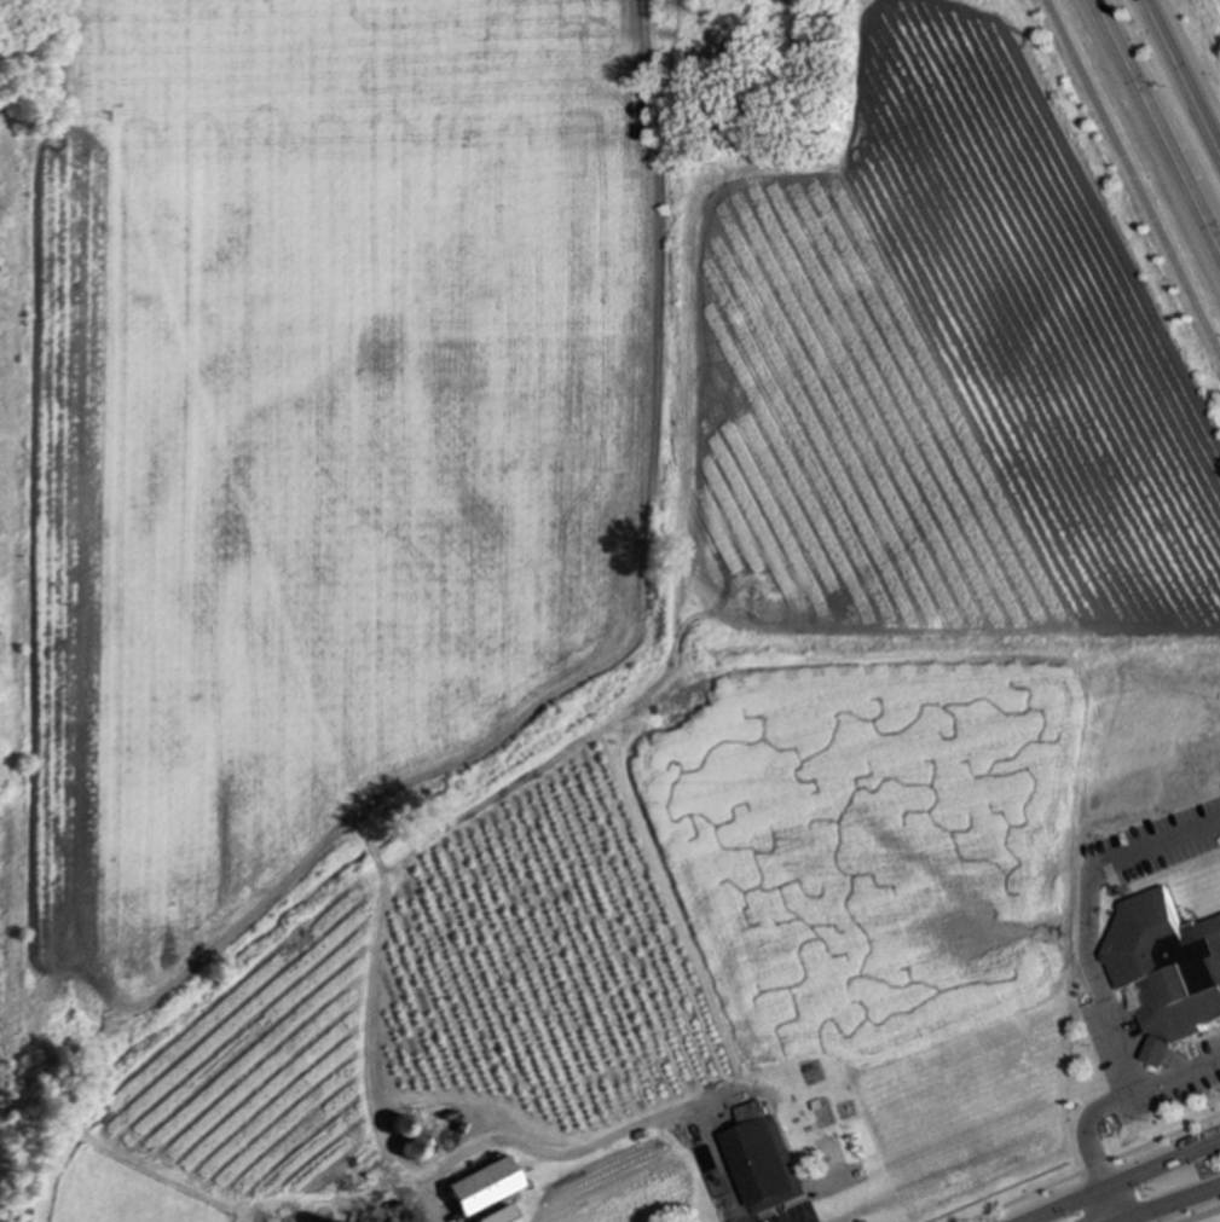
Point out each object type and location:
road: (1179, 80)
road: (1152, 137)
road: (1128, 186)
crop: (937, 375)
crop: (314, 441)
crop: (885, 893)
road: (1082, 914)
crop: (542, 966)
building: (1164, 968)
crop: (264, 1071)
road: (1102, 1106)
building: (399, 1124)
building: (411, 1149)
road: (537, 1152)
building: (763, 1160)
road: (1091, 1166)
road: (1124, 1181)
building: (480, 1186)
road: (1179, 1200)
road: (1201, 1215)
building: (495, 1216)
road: (1129, 1218)
road: (1144, 1218)
building: (329, 1221)

